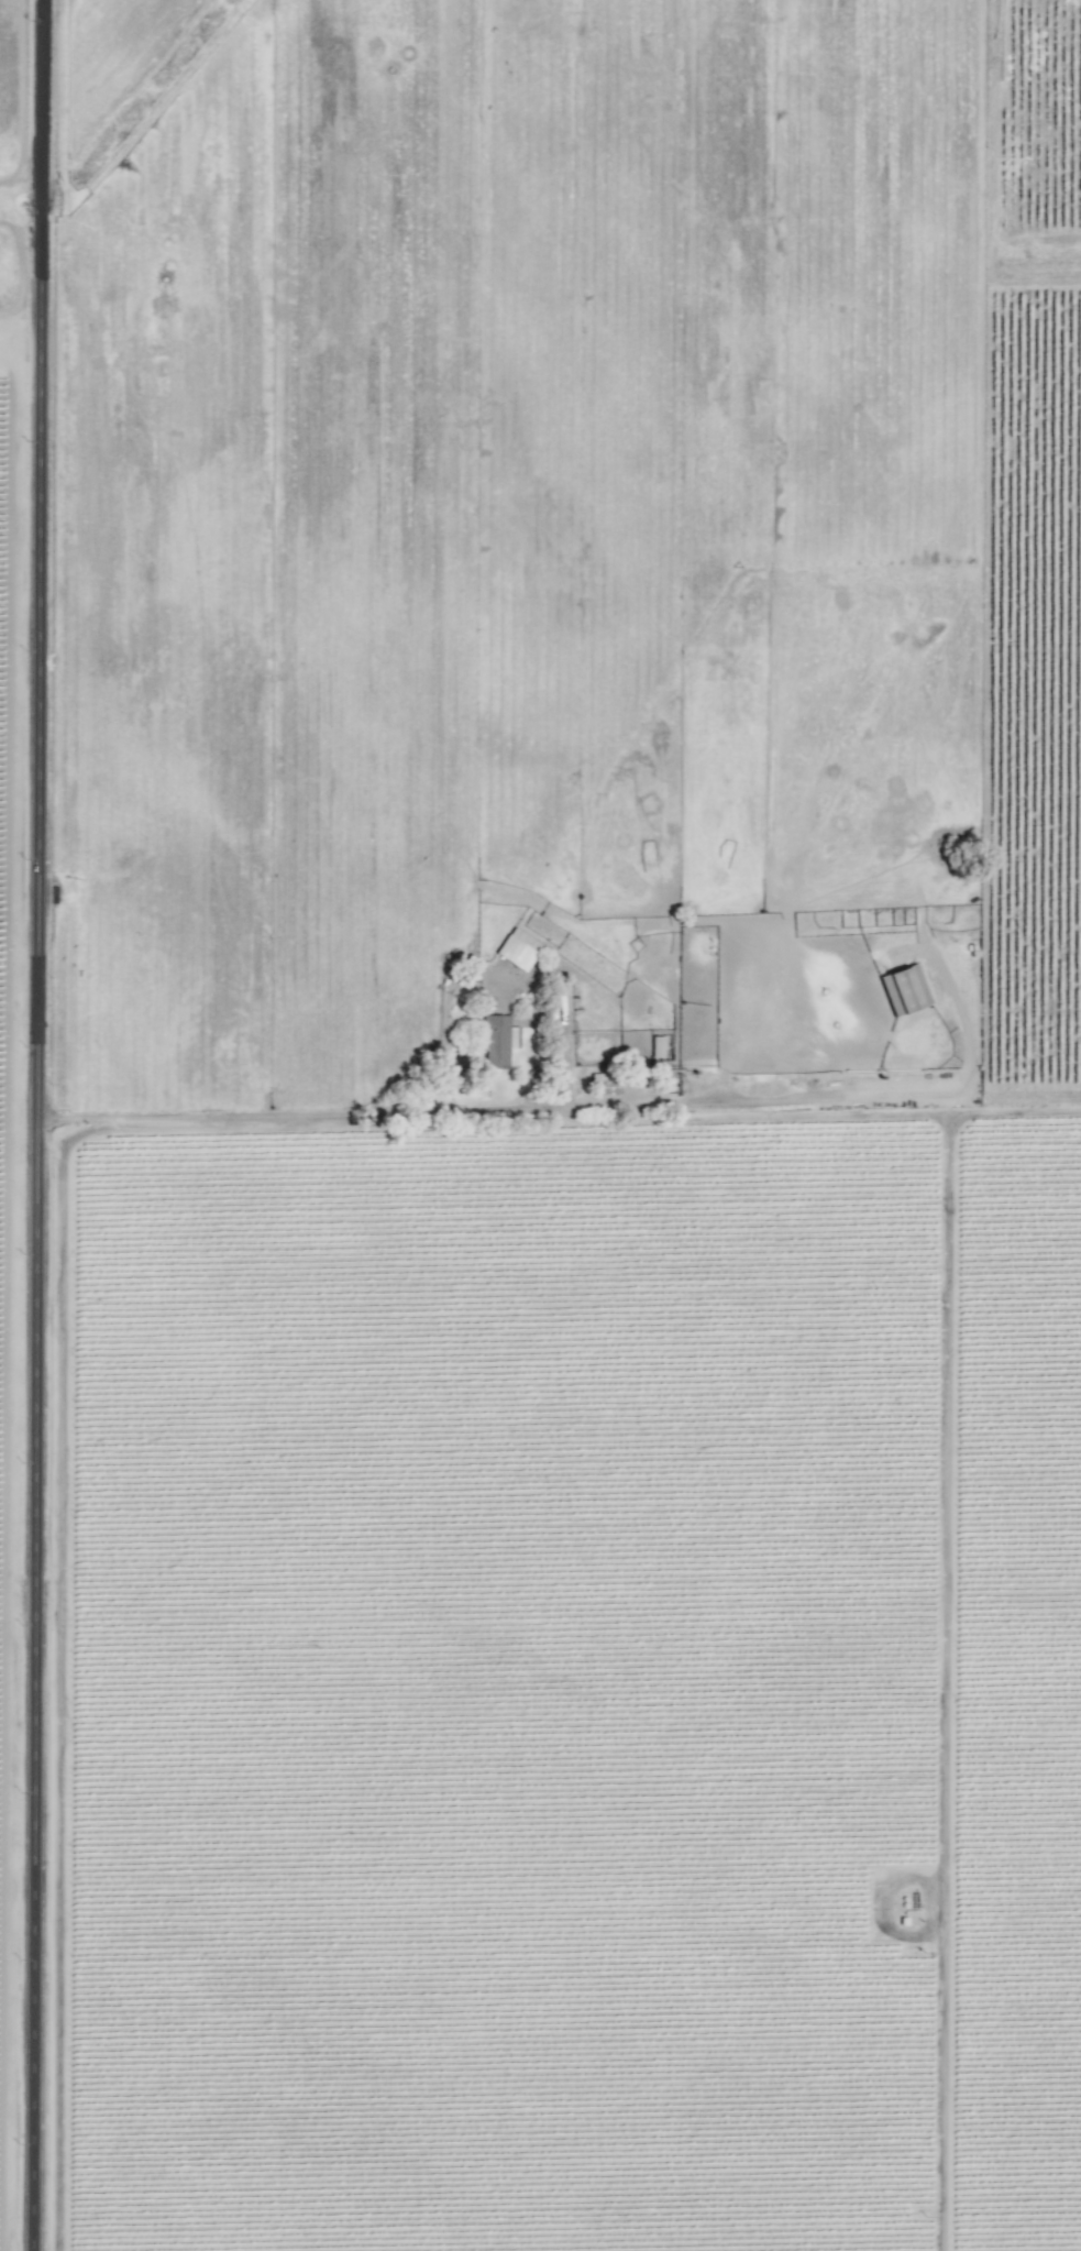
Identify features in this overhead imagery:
building: (518, 948)
building: (905, 990)
road: (964, 1032)
building: (498, 1040)
building: (658, 1046)
road: (43, 1125)
road: (561, 1125)
road: (945, 1683)

